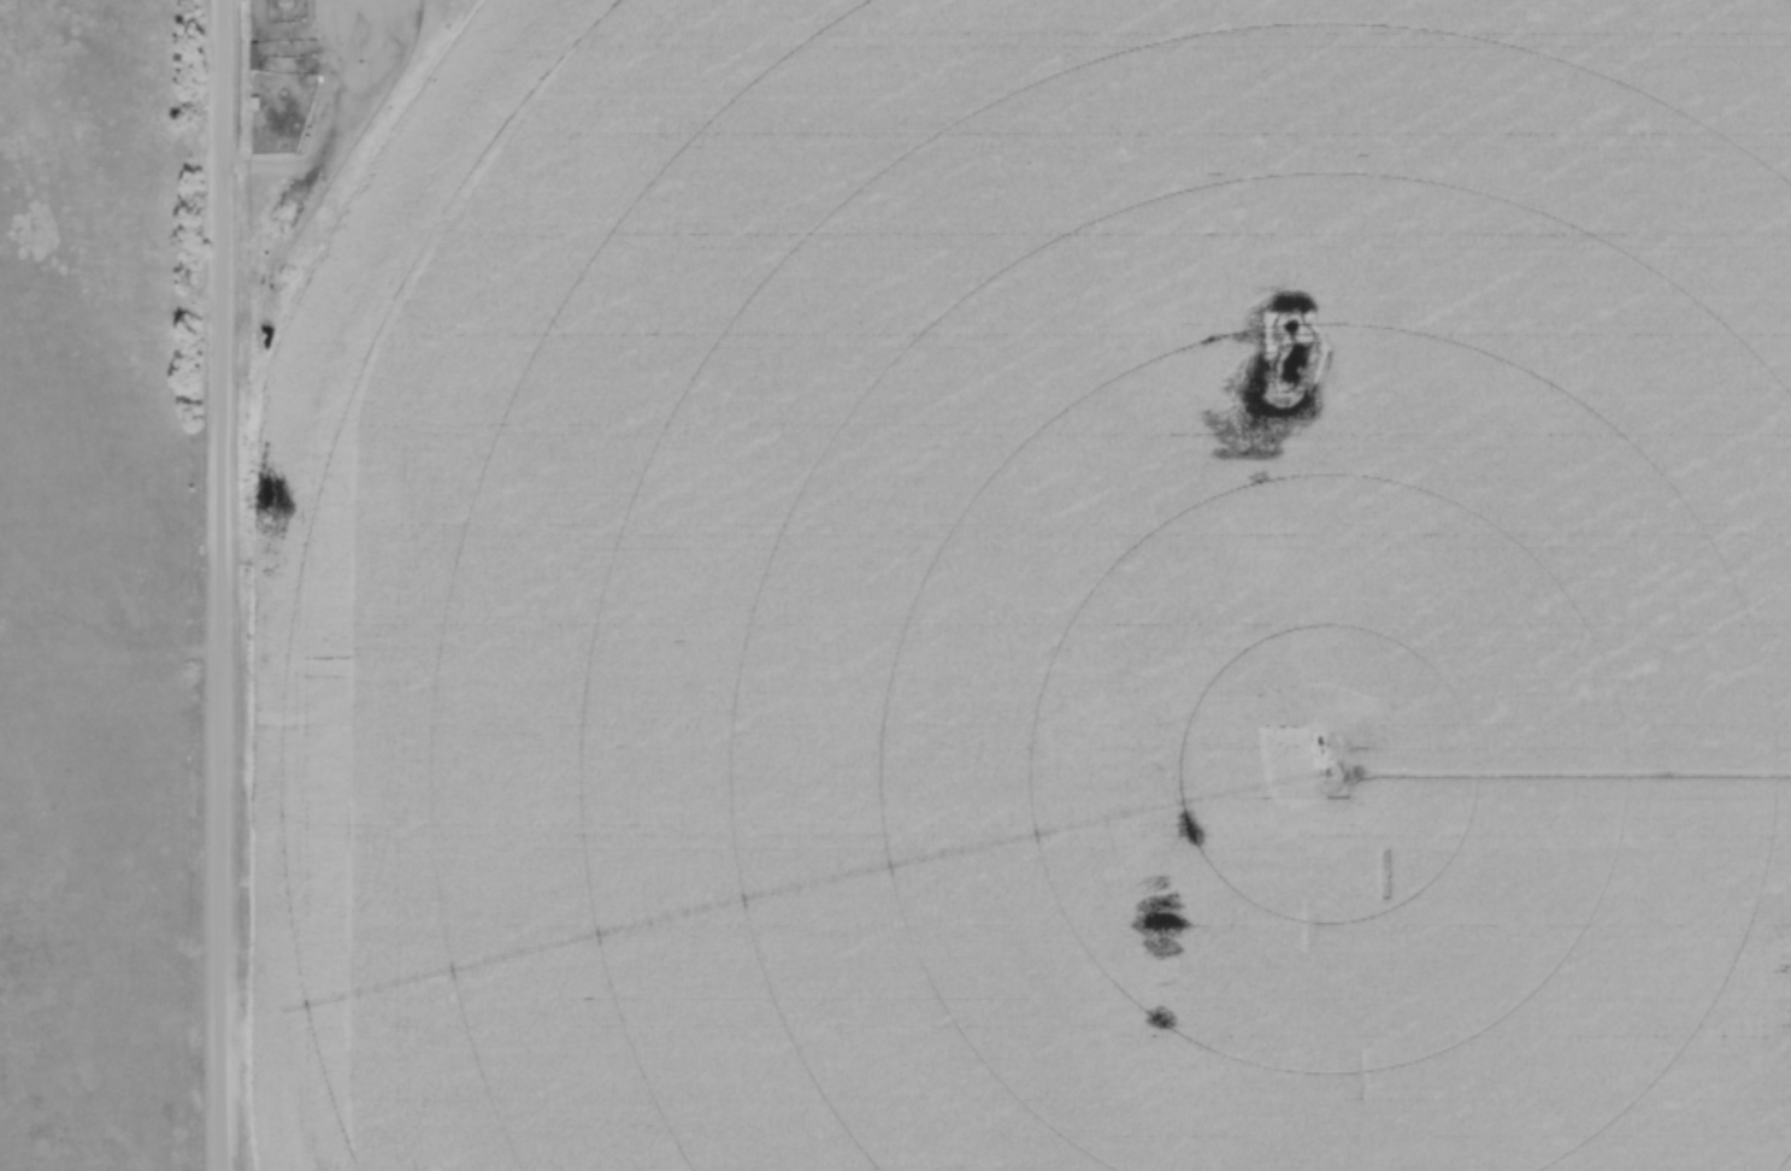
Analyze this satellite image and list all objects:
road: (372, 7)
road: (222, 585)

